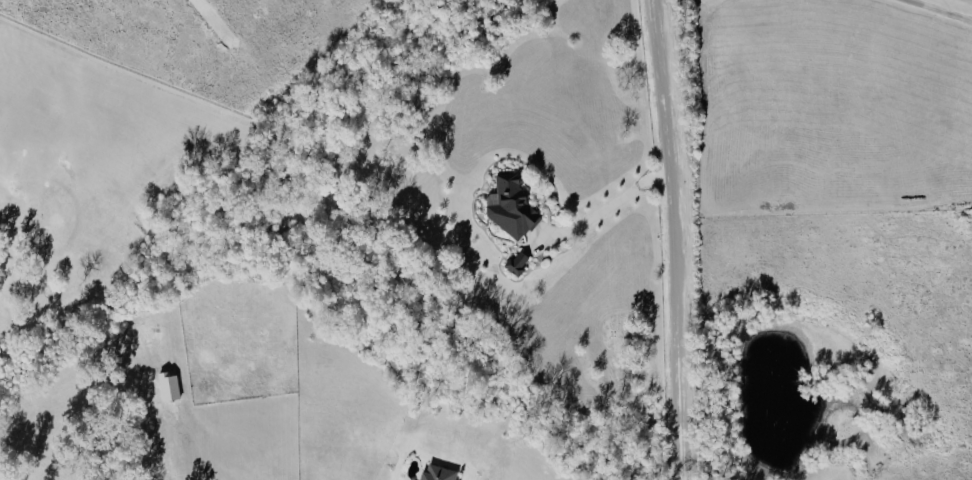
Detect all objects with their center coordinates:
road: (939, 10)
building: (512, 205)
road: (609, 206)
road: (674, 239)
building: (519, 261)
building: (170, 385)
building: (440, 472)

